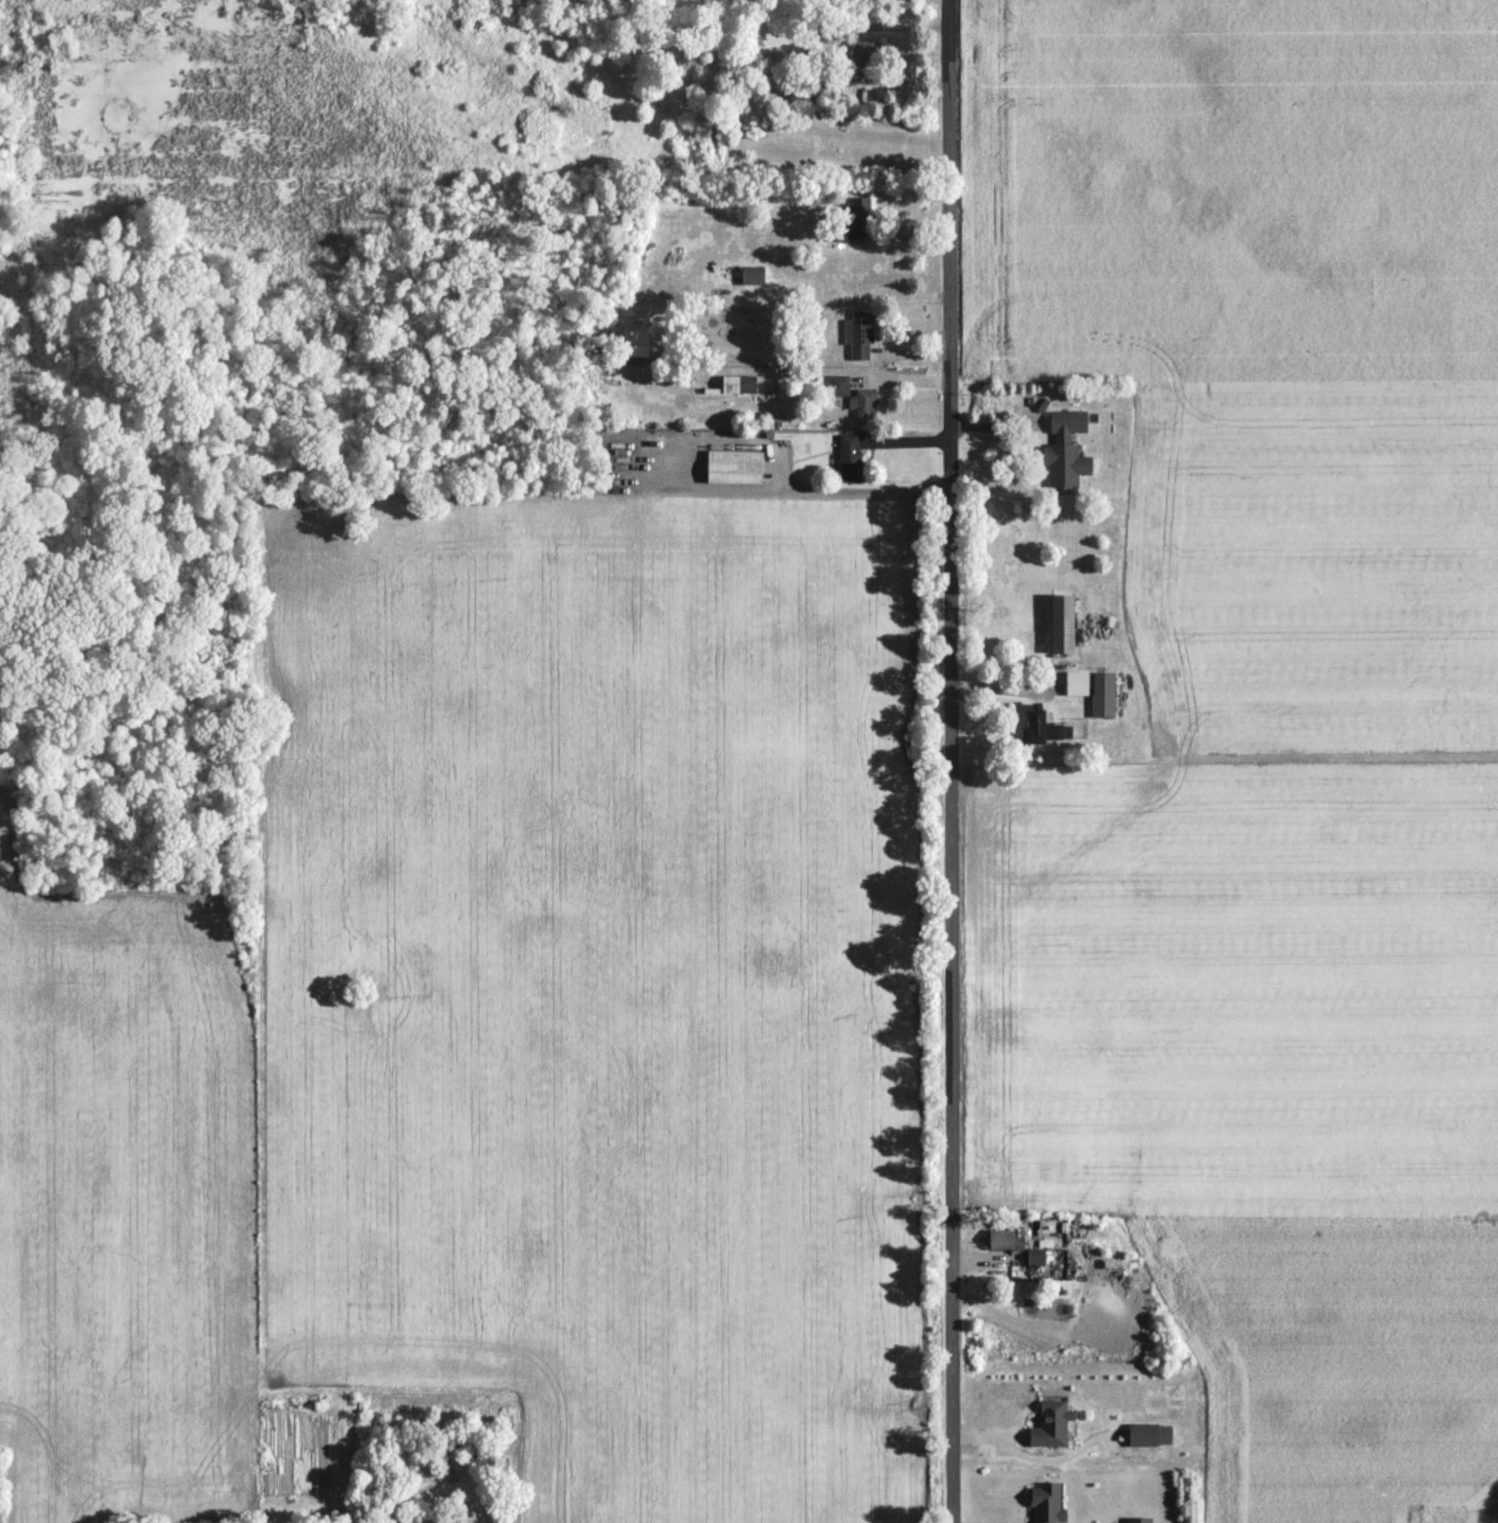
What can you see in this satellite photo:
building: (865, 50)
building: (858, 334)
building: (635, 341)
road: (809, 363)
building: (738, 383)
building: (838, 384)
building: (863, 403)
road: (995, 423)
building: (1065, 448)
building: (849, 457)
building: (734, 466)
road: (798, 488)
building: (1061, 623)
building: (1076, 683)
building: (1102, 694)
building: (1039, 726)
road: (948, 761)
building: (1006, 1238)
building: (1034, 1256)
building: (1051, 1424)
building: (1149, 1434)
building: (1047, 1502)
building: (431, 1520)

